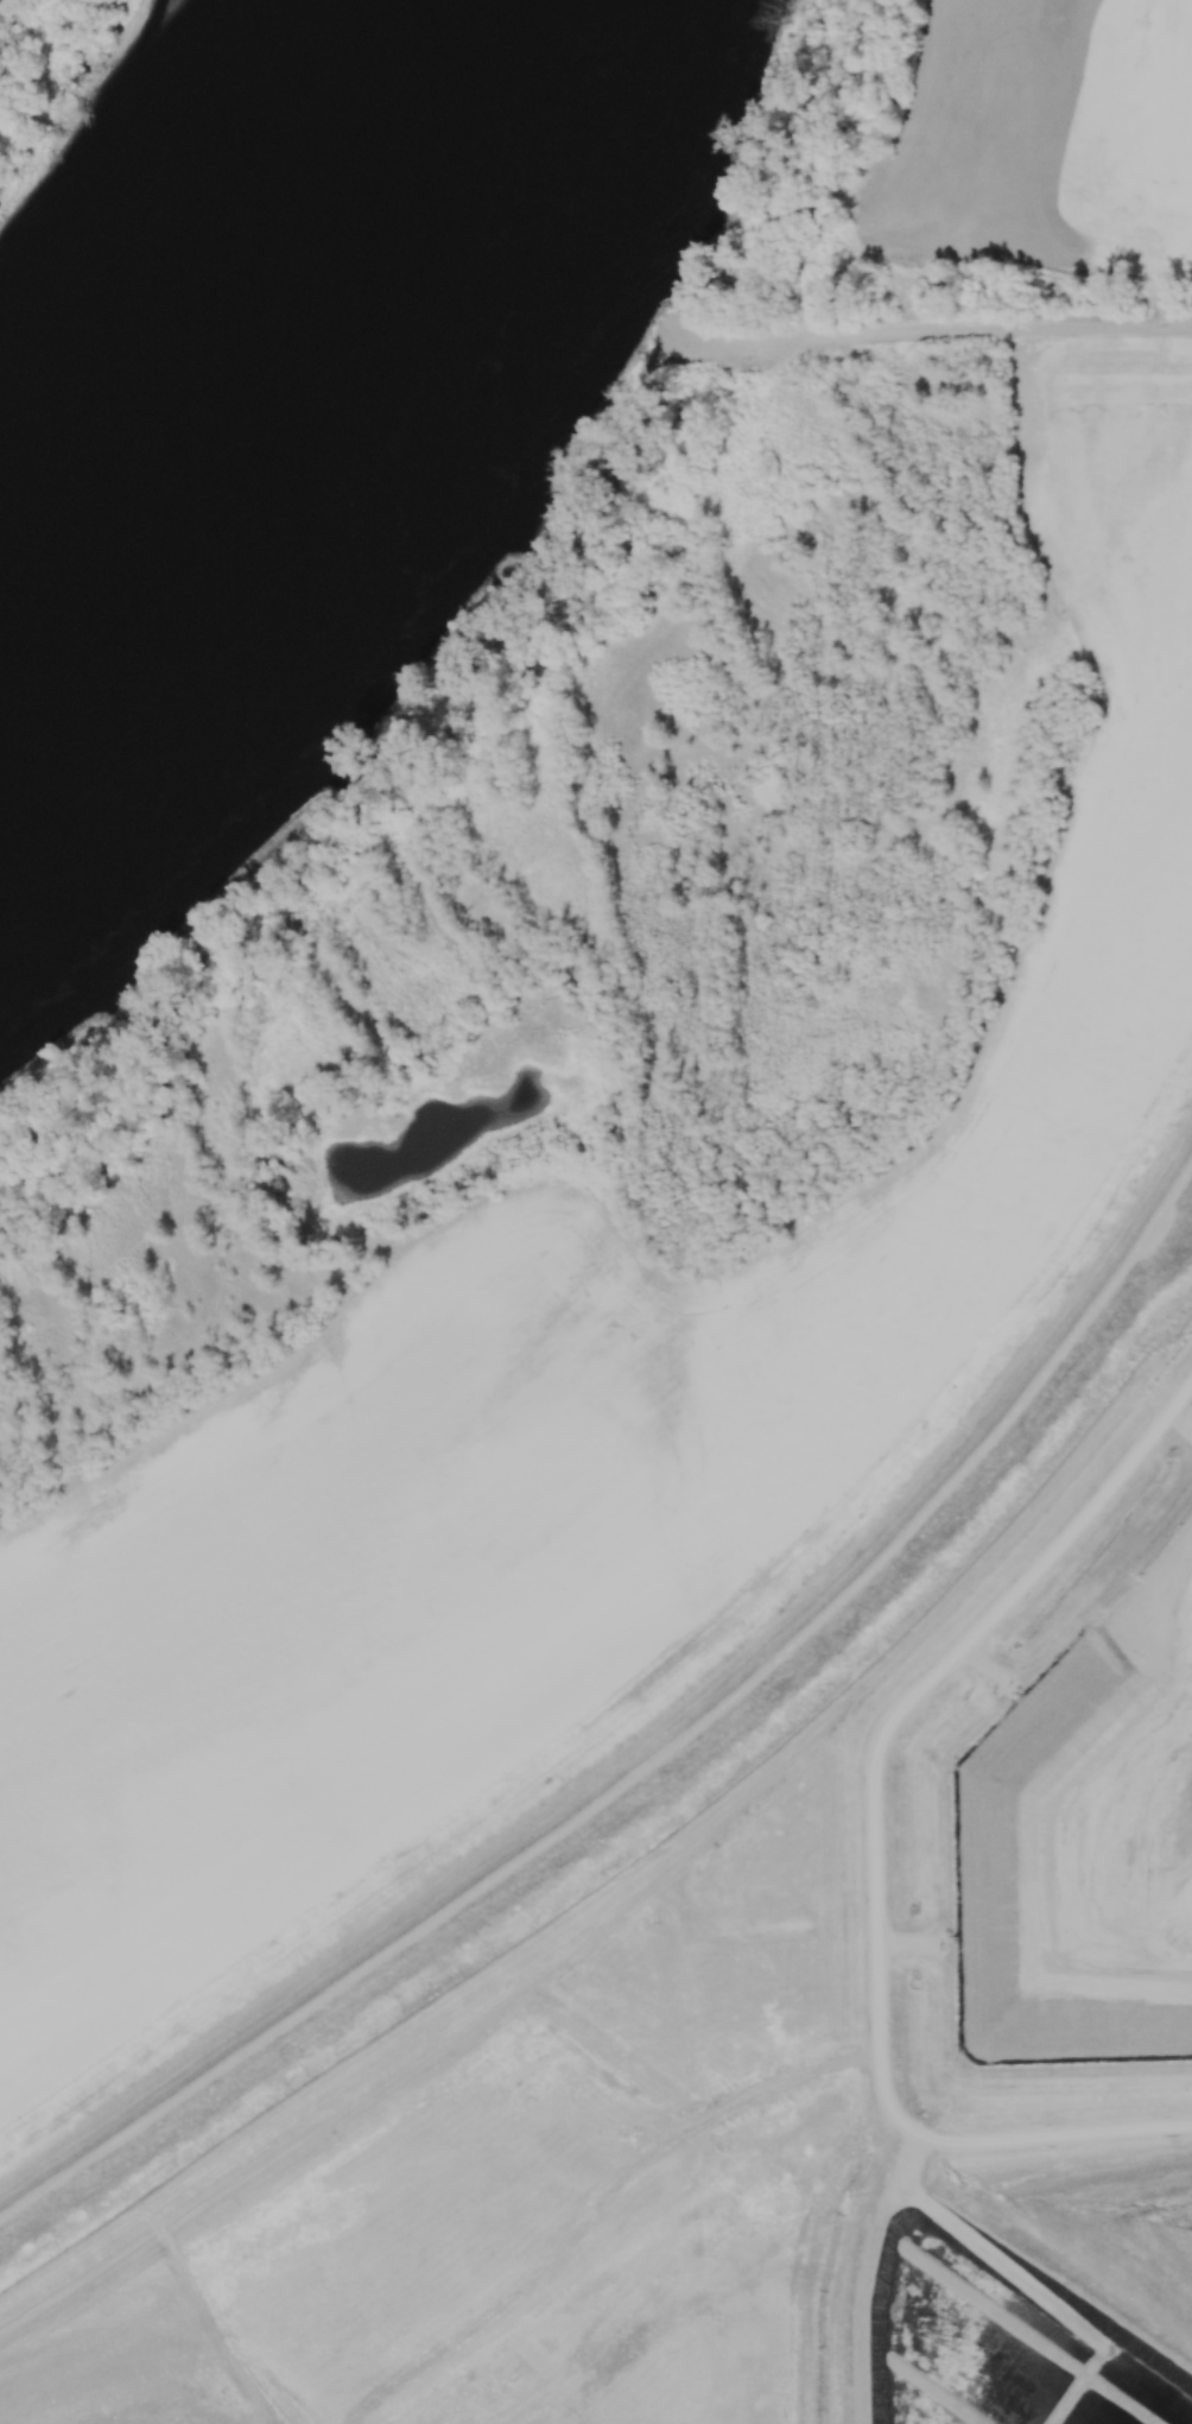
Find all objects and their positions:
river: (281, 384)
road: (662, 1739)

